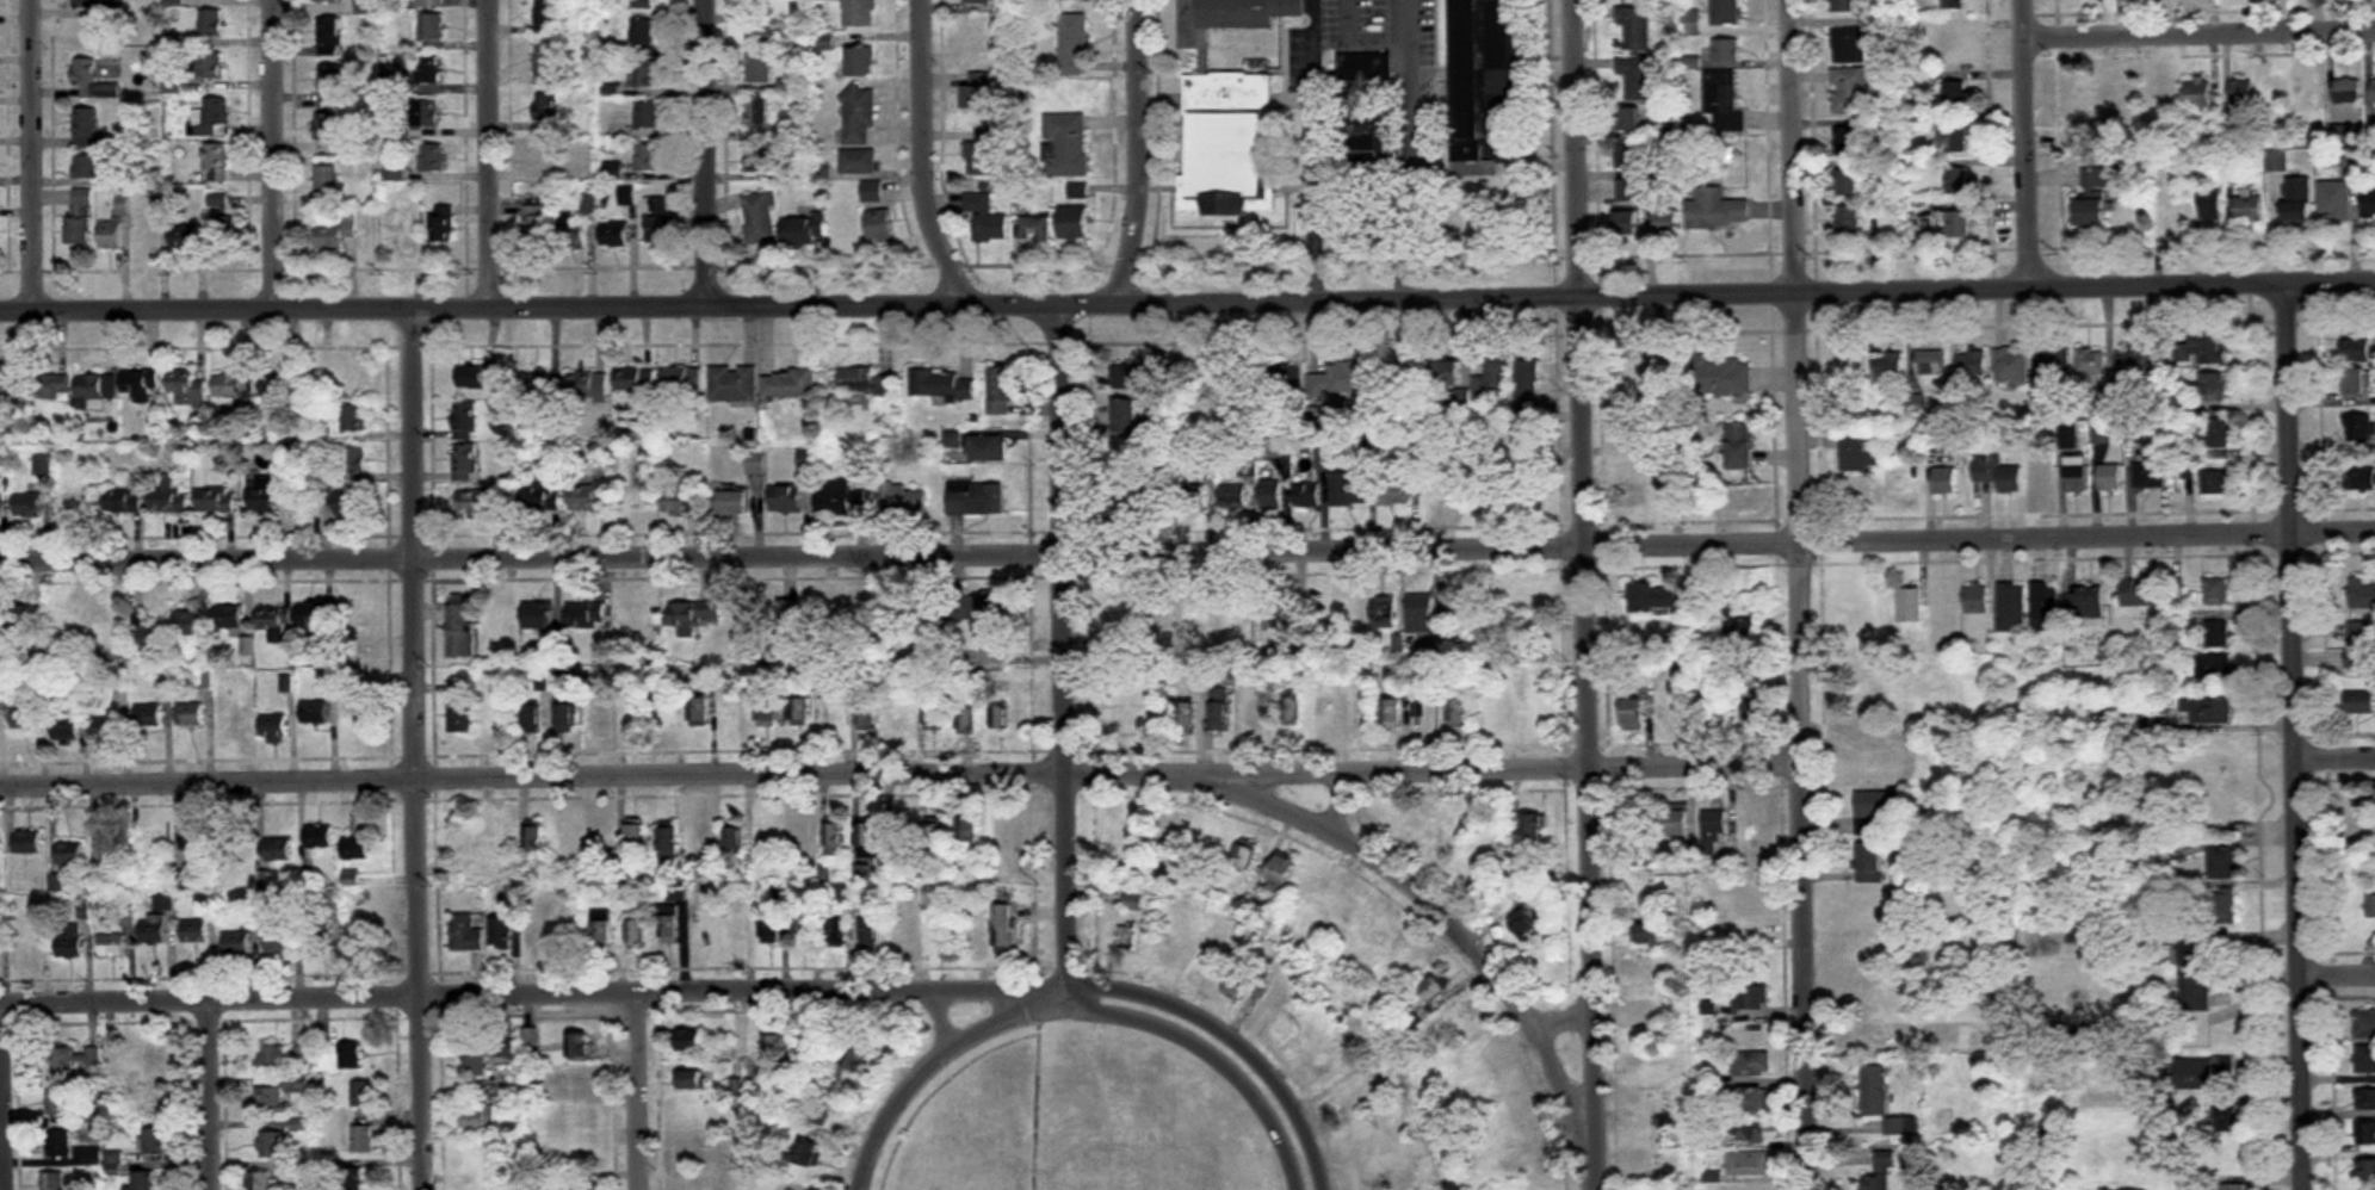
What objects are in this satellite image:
building: (328, 0)
building: (983, 1)
building: (85, 4)
building: (427, 4)
building: (642, 5)
building: (1954, 5)
building: (366, 6)
building: (1848, 6)
building: (1726, 12)
building: (860, 13)
building: (548, 17)
building: (210, 23)
building: (1635, 29)
building: (431, 32)
building: (642, 32)
road: (1405, 32)
building: (976, 33)
building: (763, 35)
road: (2204, 35)
building: (329, 37)
building: (1072, 45)
building: (1848, 45)
road: (1313, 47)
building: (1953, 47)
building: (1726, 51)
building: (861, 61)
building: (211, 66)
building: (546, 66)
building: (759, 67)
building: (1365, 67)
building: (427, 70)
building: (648, 75)
building: (1637, 78)
building: (92, 80)
building: (1484, 81)
building: (329, 83)
building: (2374, 91)
building: (977, 92)
building: (1850, 92)
building: (2277, 92)
building: (2349, 92)
building: (2200, 93)
building: (2314, 93)
building: (1957, 94)
building: (2166, 94)
building: (2107, 95)
building: (2244, 99)
building: (1723, 104)
building: (546, 109)
building: (1227, 111)
building: (760, 113)
building: (426, 114)
building: (859, 114)
building: (648, 116)
building: (210, 119)
building: (1629, 120)
building: (327, 126)
building: (86, 129)
building: (1955, 141)
building: (1848, 142)
road: (2034, 142)
building: (1065, 145)
building: (1363, 151)
road: (270, 154)
road: (485, 154)
road: (706, 154)
building: (982, 154)
road: (26, 155)
road: (1139, 157)
building: (432, 159)
building: (649, 159)
building: (1631, 159)
building: (543, 161)
building: (763, 161)
building: (859, 161)
building: (2278, 161)
building: (215, 163)
road: (923, 165)
building: (86, 167)
building: (392, 173)
building: (2102, 178)
building: (1957, 182)
road: (1408, 184)
building: (1848, 184)
building: (326, 185)
building: (1634, 191)
building: (873, 192)
building: (412, 196)
building: (626, 196)
road: (1313, 199)
building: (2300, 200)
building: (2336, 200)
building: (217, 202)
building: (2369, 204)
building: (2250, 205)
building: (2213, 206)
building: (2177, 210)
building: (1717, 211)
building: (2092, 212)
building: (759, 218)
building: (987, 218)
building: (79, 219)
building: (657, 221)
building: (1848, 221)
building: (1075, 223)
building: (441, 224)
building: (534, 224)
building: (1627, 224)
building: (1669, 224)
building: (1959, 224)
building: (879, 225)
building: (1035, 229)
building: (224, 230)
building: (803, 230)
building: (570, 231)
building: (336, 233)
building: (111, 235)
building: (614, 235)
building: (397, 236)
building: (147, 237)
building: (184, 237)
road: (1187, 308)
building: (2207, 348)
building: (2359, 349)
building: (2055, 360)
building: (2091, 361)
building: (1931, 362)
building: (1973, 362)
building: (1890, 366)
building: (2011, 366)
building: (2134, 366)
building: (1446, 371)
building: (345, 376)
building: (1136, 376)
building: (476, 377)
building: (1720, 377)
building: (680, 378)
building: (1236, 378)
building: (633, 379)
building: (1284, 379)
building: (1338, 380)
building: (865, 382)
building: (2357, 382)
building: (11, 383)
building: (732, 383)
building: (141, 384)
building: (534, 384)
building: (587, 384)
building: (788, 384)
building: (941, 384)
building: (1489, 384)
building: (50, 385)
building: (231, 385)
building: (278, 385)
building: (1527, 386)
building: (2214, 386)
building: (95, 388)
building: (188, 389)
building: (1000, 391)
building: (1127, 415)
building: (353, 416)
building: (464, 421)
building: (2358, 428)
building: (2135, 430)
building: (2219, 432)
building: (1527, 435)
building: (1643, 435)
building: (2067, 436)
building: (1435, 438)
building: (1273, 445)
building: (1739, 446)
building: (988, 448)
building: (1858, 454)
building: (1126, 458)
building: (464, 461)
building: (755, 463)
building: (348, 464)
building: (1643, 466)
building: (1207, 469)
building: (1523, 473)
building: (1998, 473)
building: (2078, 473)
building: (2150, 475)
building: (2111, 477)
building: (2045, 478)
building: (2359, 478)
building: (1944, 479)
building: (2218, 482)
building: (1446, 486)
building: (1398, 490)
building: (1348, 491)
building: (272, 492)
building: (542, 494)
building: (1272, 495)
building: (1307, 495)
building: (167, 496)
building: (586, 496)
building: (840, 496)
building: (1190, 496)
building: (1232, 496)
building: (1136, 497)
building: (785, 498)
building: (975, 498)
building: (78, 500)
building: (215, 500)
building: (901, 500)
building: (1737, 500)
building: (122, 501)
building: (1652, 501)
building: (478, 502)
building: (633, 502)
building: (678, 502)
building: (732, 502)
building: (342, 503)
building: (27, 504)
building: (0, 506)
road: (1187, 548)
building: (1517, 589)
building: (2218, 591)
road: (1798, 594)
building: (2141, 594)
road: (1582, 595)
building: (1651, 596)
building: (1977, 599)
building: (1909, 605)
building: (1235, 607)
building: (2010, 607)
building: (2045, 607)
building: (2086, 607)
building: (976, 608)
building: (1338, 611)
building: (1384, 612)
building: (64, 613)
building: (1421, 613)
building: (497, 614)
building: (537, 614)
building: (586, 614)
building: (635, 614)
building: (2374, 614)
building: (228, 615)
building: (691, 615)
building: (1284, 615)
building: (21, 616)
building: (796, 618)
building: (105, 619)
building: (849, 619)
building: (310, 620)
building: (361, 621)
building: (186, 622)
building: (274, 622)
building: (1740, 624)
building: (459, 630)
building: (1643, 631)
building: (2218, 634)
building: (147, 636)
building: (994, 642)
road: (1070, 652)
building: (2356, 658)
building: (2214, 667)
building: (2359, 702)
building: (358, 707)
building: (459, 707)
building: (1220, 709)
building: (1357, 709)
building: (1676, 709)
building: (2208, 709)
building: (1292, 711)
building: (1715, 711)
building: (1756, 711)
building: (666, 712)
building: (699, 712)
building: (732, 712)
building: (767, 712)
building: (799, 712)
building: (1425, 712)
building: (315, 713)
building: (897, 713)
building: (1458, 713)
building: (1634, 713)
building: (148, 714)
building: (190, 714)
building: (497, 714)
building: (1392, 714)
building: (1000, 715)
building: (1187, 715)
building: (1256, 715)
building: (1495, 715)
building: (599, 717)
building: (631, 717)
building: (867, 717)
building: (933, 717)
building: (25, 718)
building: (565, 718)
building: (532, 719)
building: (965, 719)
building: (231, 724)
building: (1119, 724)
building: (107, 727)
building: (273, 727)
building: (66, 729)
road: (2290, 736)
road: (425, 748)
road: (2333, 760)
road: (899, 780)
road: (1337, 801)
building: (1875, 810)
building: (2361, 814)
building: (1678, 823)
building: (1536, 825)
building: (967, 829)
building: (1001, 830)
building: (898, 832)
building: (1713, 832)
building: (932, 833)
building: (1434, 833)
building: (1752, 833)
building: (501, 836)
building: (1169, 836)
building: (318, 837)
building: (470, 837)
building: (534, 837)
building: (734, 837)
building: (767, 837)
building: (800, 838)
building: (867, 838)
building: (1640, 838)
building: (193, 839)
building: (636, 839)
building: (834, 839)
building: (27, 842)
building: (703, 843)
building: (1208, 843)
building: (668, 845)
building: (278, 849)
building: (355, 849)
building: (112, 851)
building: (236, 851)
building: (69, 854)
building: (1245, 856)
building: (1868, 862)
building: (2222, 862)
building: (1281, 869)
building: (1476, 870)
building: (183, 880)
building: (1317, 887)
building: (842, 892)
building: (1746, 895)
building: (1646, 898)
building: (1133, 901)
building: (2225, 905)
building: (2370, 906)
building: (1870, 909)
building: (1343, 917)
building: (1527, 923)
building: (669, 924)
building: (1004, 925)
building: (772, 926)
building: (804, 926)
road: (1453, 926)
building: (738, 928)
building: (153, 929)
building: (1749, 929)
building: (194, 930)
building: (604, 930)
building: (837, 930)
building: (936, 930)
building: (1380, 930)
building: (636, 931)
building: (318, 932)
building: (500, 932)
building: (871, 932)
building: (904, 932)
building: (464, 934)
building: (570, 934)
building: (1650, 934)
building: (538, 935)
building: (27, 937)
building: (1126, 937)
building: (358, 940)
building: (68, 941)
building: (236, 942)
building: (279, 942)
building: (112, 946)
building: (2194, 948)
building: (1874, 953)
building: (1410, 957)
building: (1651, 967)
road: (2334, 974)
building: (1238, 985)
building: (1435, 987)
road: (538, 992)
building: (2194, 992)
building: (1874, 994)
building: (1750, 997)
building: (1653, 1000)
building: (1461, 1017)
road: (940, 1021)
road: (1561, 1022)
building: (2364, 1025)
building: (1873, 1031)
building: (1750, 1034)
building: (1303, 1036)
building: (691, 1040)
building: (582, 1045)
road: (1237, 1046)
building: (777, 1047)
building: (1482, 1050)
building: (506, 1055)
building: (350, 1056)
building: (284, 1058)
building: (474, 1058)
road: (936, 1058)
building: (62, 1060)
building: (154, 1060)
building: (860, 1060)
road: (1216, 1060)
building: (2364, 1060)
building: (1751, 1064)
building: (1329, 1066)
building: (1657, 1068)
building: (2204, 1074)
building: (534, 1076)
building: (692, 1080)
building: (579, 1081)
road: (654, 1090)
building: (1874, 1091)
building: (363, 1093)
road: (11, 1096)
road: (214, 1096)
building: (1344, 1097)
building: (271, 1099)
building: (1755, 1099)
building: (2365, 1099)
building: (154, 1102)
building: (57, 1103)
building: (827, 1111)
building: (692, 1115)
building: (478, 1117)
building: (2227, 1117)
building: (1515, 1121)
building: (1746, 1134)
building: (2365, 1134)
building: (154, 1140)
building: (363, 1140)
building: (58, 1143)
building: (271, 1143)
building: (689, 1152)
building: (583, 1153)
building: (810, 1153)
building: (477, 1159)
building: (1519, 1160)
building: (2227, 1161)
building: (1750, 1164)
building: (1368, 1171)
building: (2367, 1171)
building: (1881, 1173)
building: (350, 1178)
building: (259, 1179)
building: (51, 1180)
building: (142, 1180)
building: (577, 1184)
building: (2234, 1186)
building: (1752, 1188)
building: (487, 1189)
building: (799, 1189)

